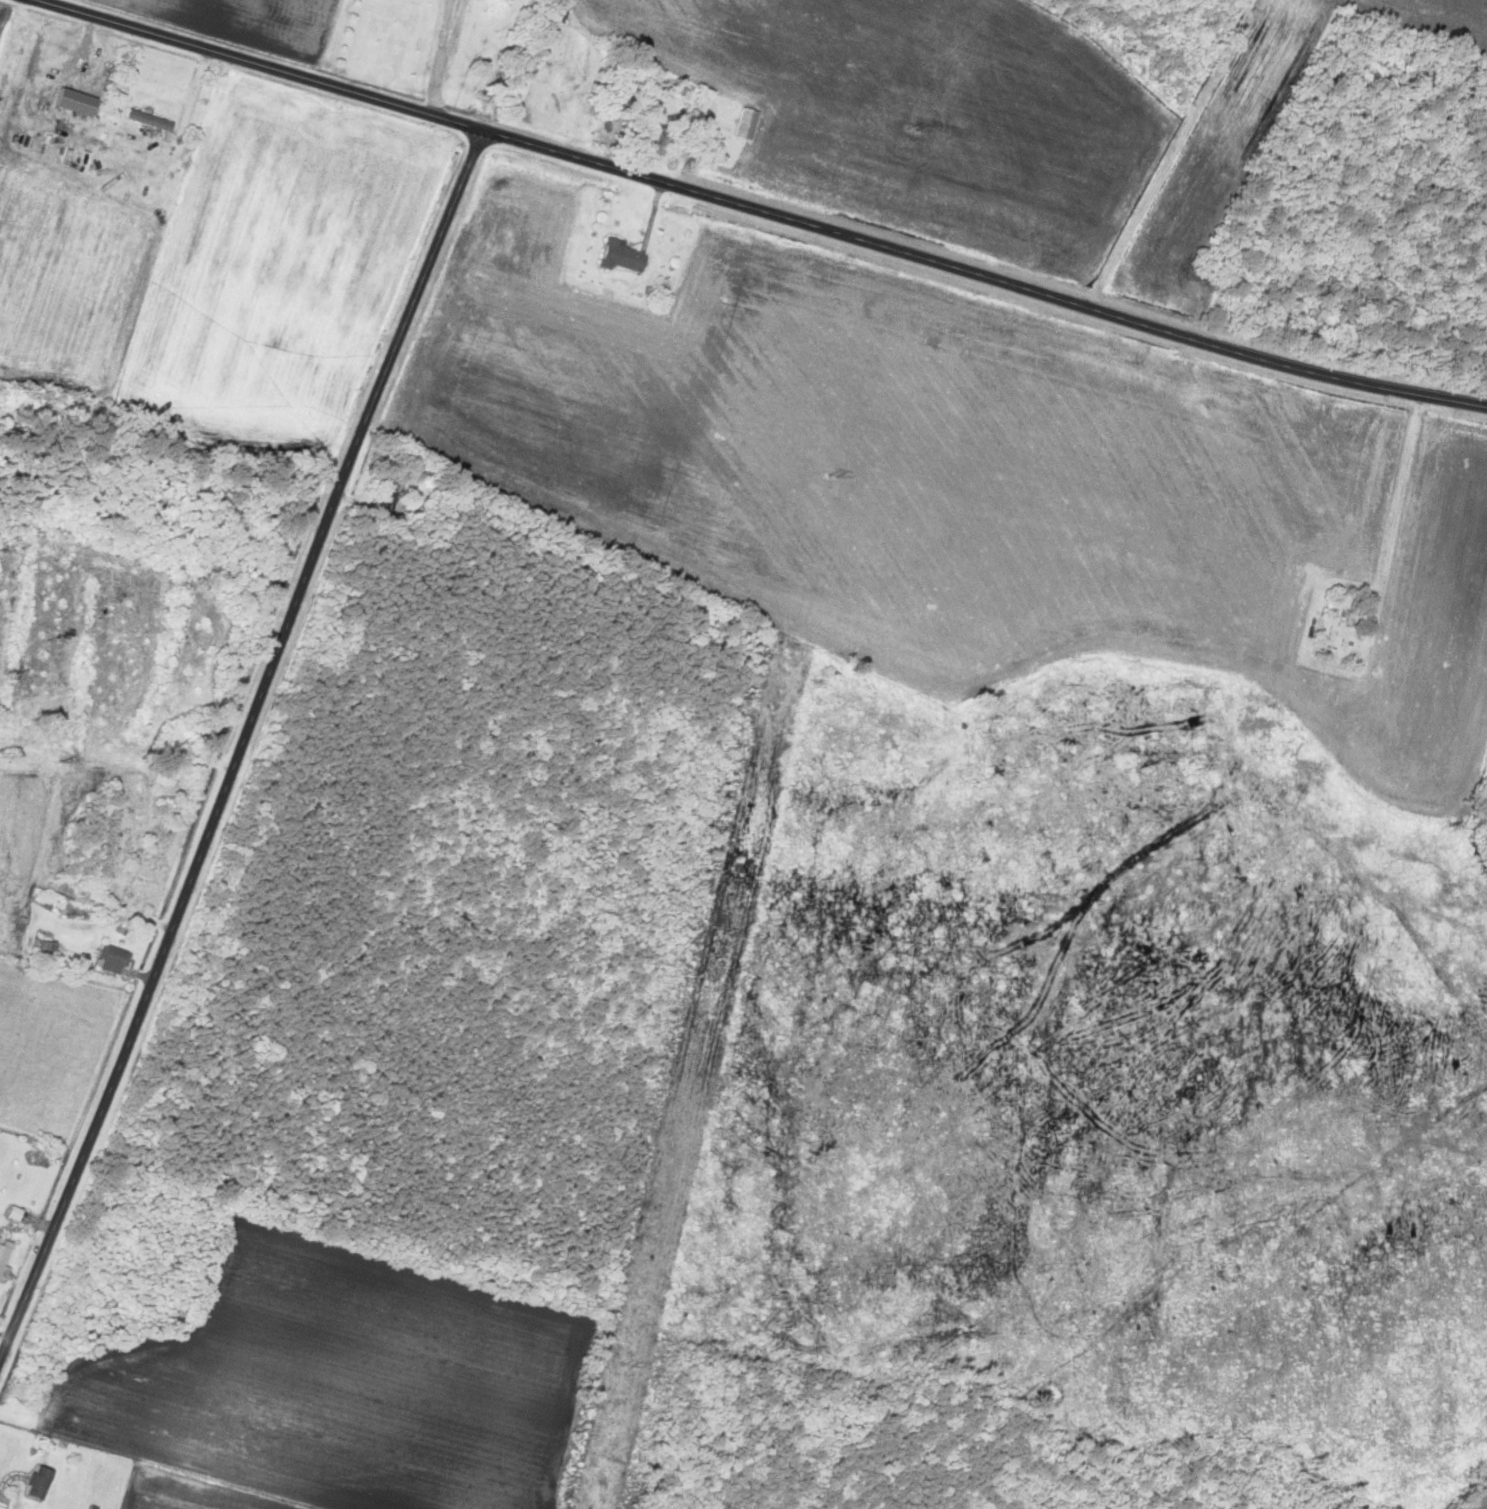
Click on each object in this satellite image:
building: (148, 120)
power tower: (925, 123)
building: (745, 124)
road: (806, 212)
building: (619, 257)
power tower: (836, 477)
road: (228, 691)
power tower: (727, 932)
building: (111, 960)
building: (4, 1258)
power tower: (627, 1366)
building: (37, 1482)

